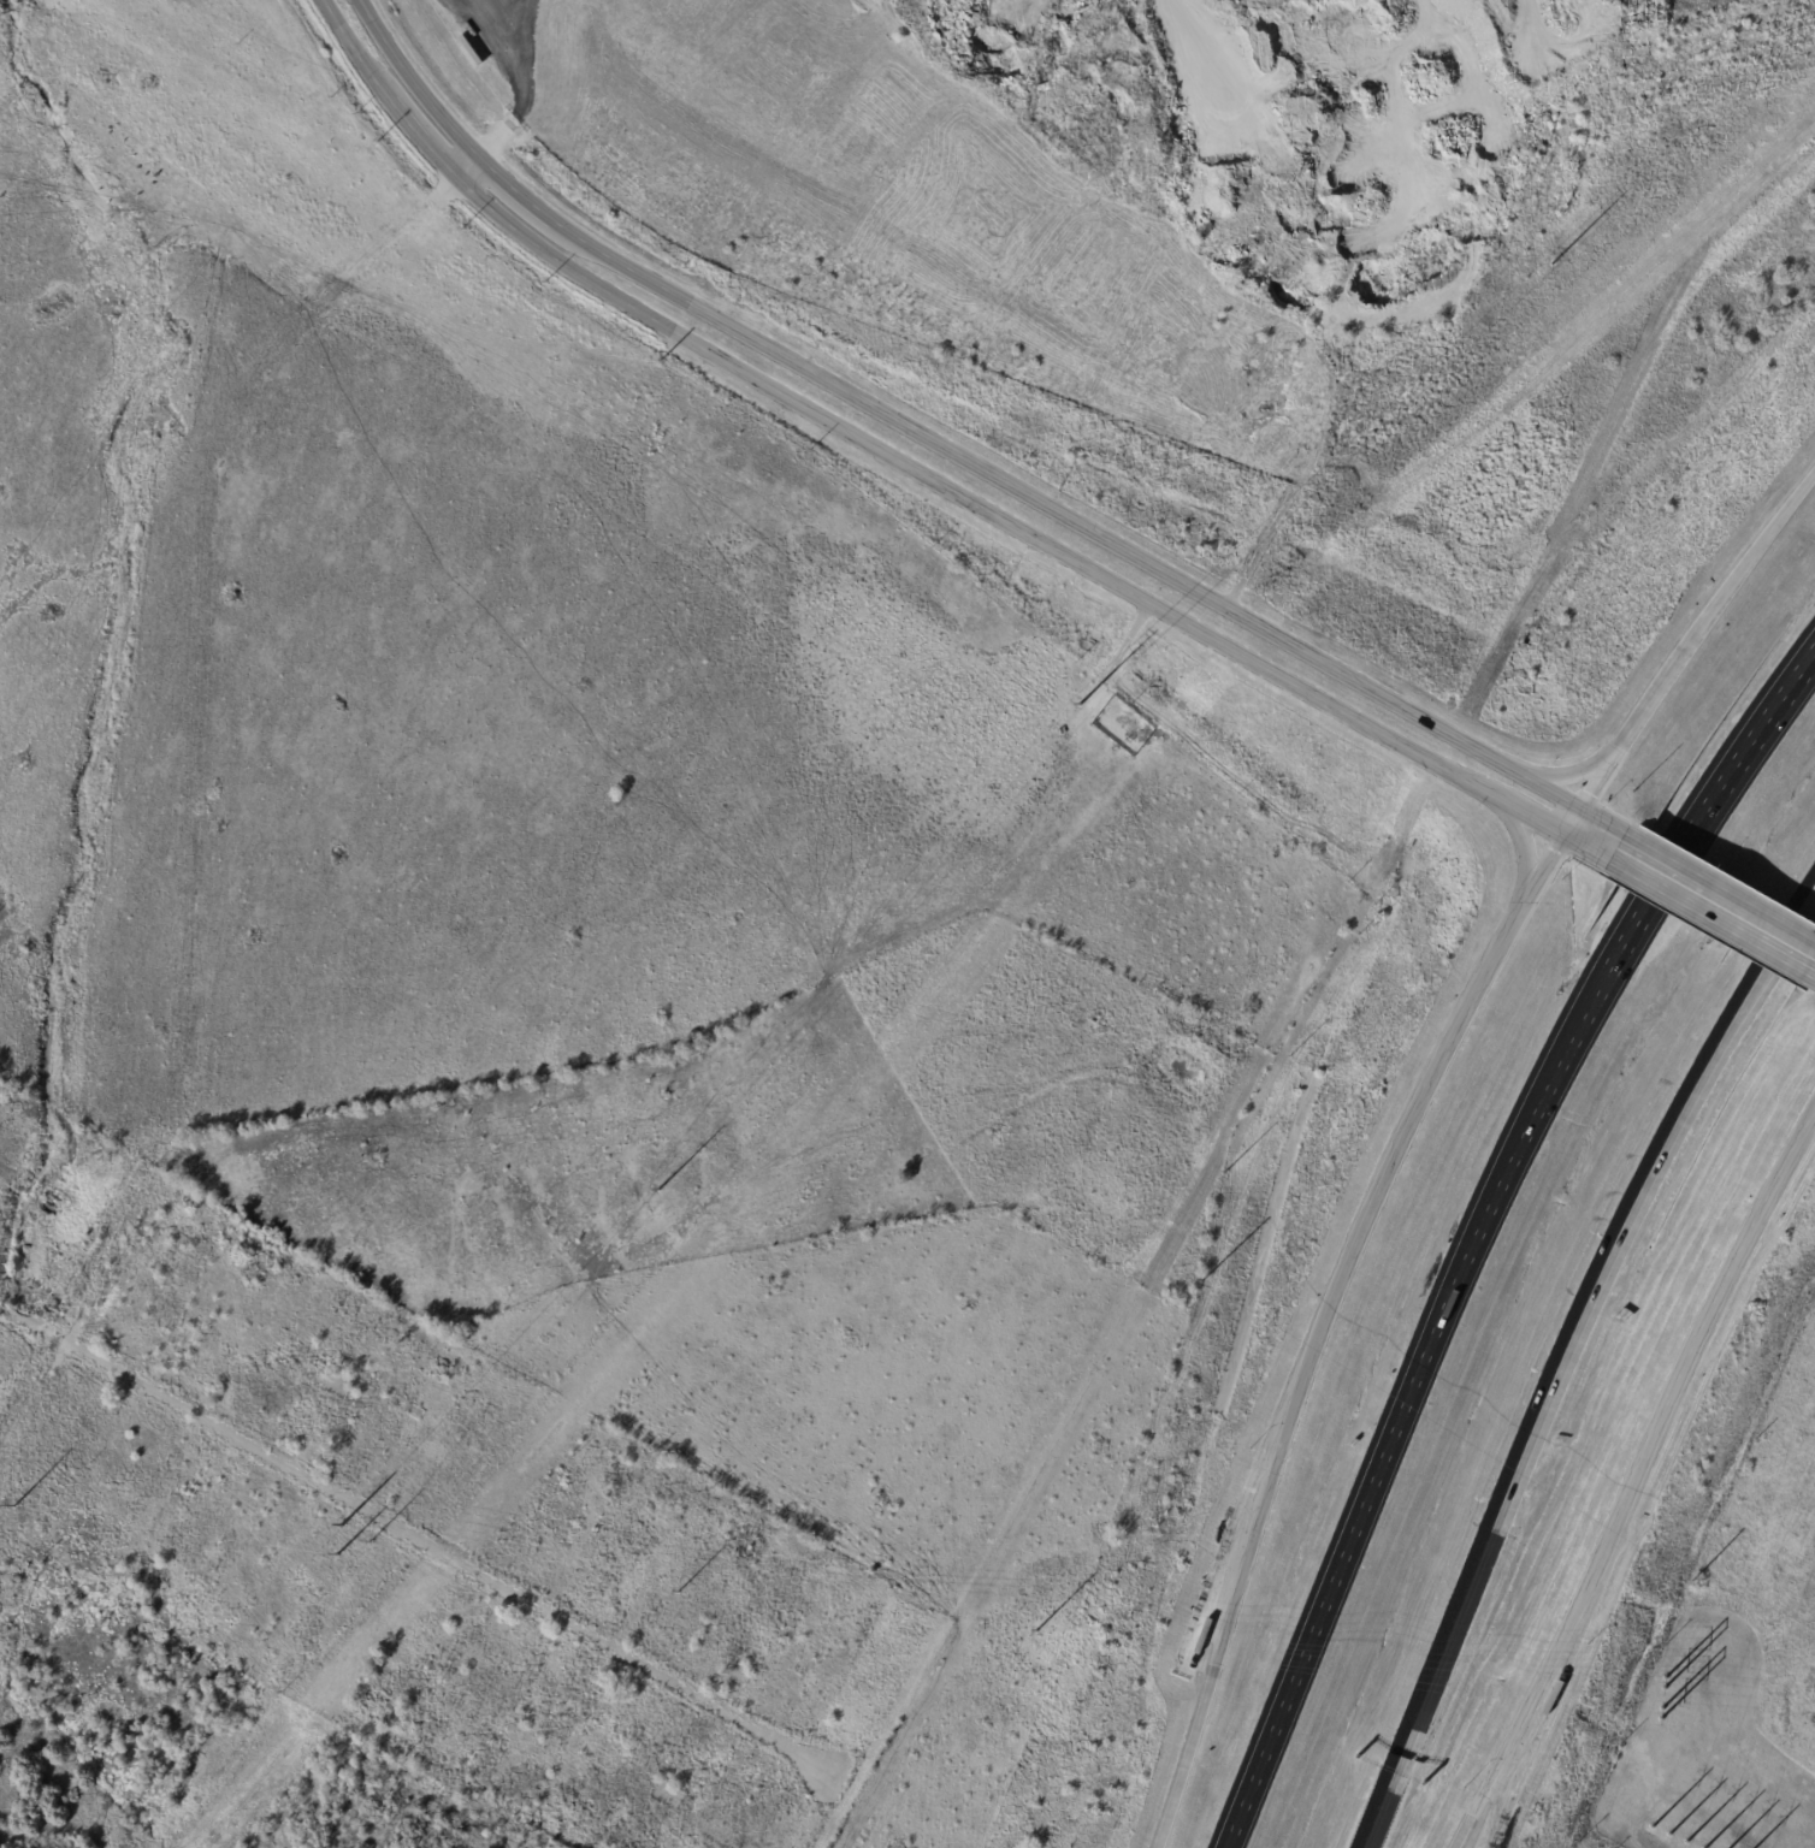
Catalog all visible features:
road: (353, 48)
road: (514, 79)
road: (413, 81)
road: (420, 136)
road: (466, 165)
road: (513, 189)
power tower: (1555, 256)
road: (962, 497)
road: (1066, 516)
road: (1744, 567)
power tower: (1075, 703)
road: (1654, 703)
road: (1569, 774)
road: (1601, 780)
road: (1526, 813)
road: (1573, 823)
road: (1603, 823)
road: (1525, 847)
road: (1589, 847)
road: (1720, 892)
road: (1714, 917)
power tower: (660, 1190)
road: (1480, 1232)
road: (77, 1301)
road: (1707, 1322)
road: (1341, 1332)
road: (1563, 1366)
power tower: (13, 1510)
power tower: (341, 1524)
parking lot: (1237, 1529)
road: (416, 1538)
power tower: (368, 1541)
power tower: (336, 1554)
power tower: (678, 1589)
power tower: (1039, 1633)
road: (1535, 1694)
power tower: (1691, 1847)

